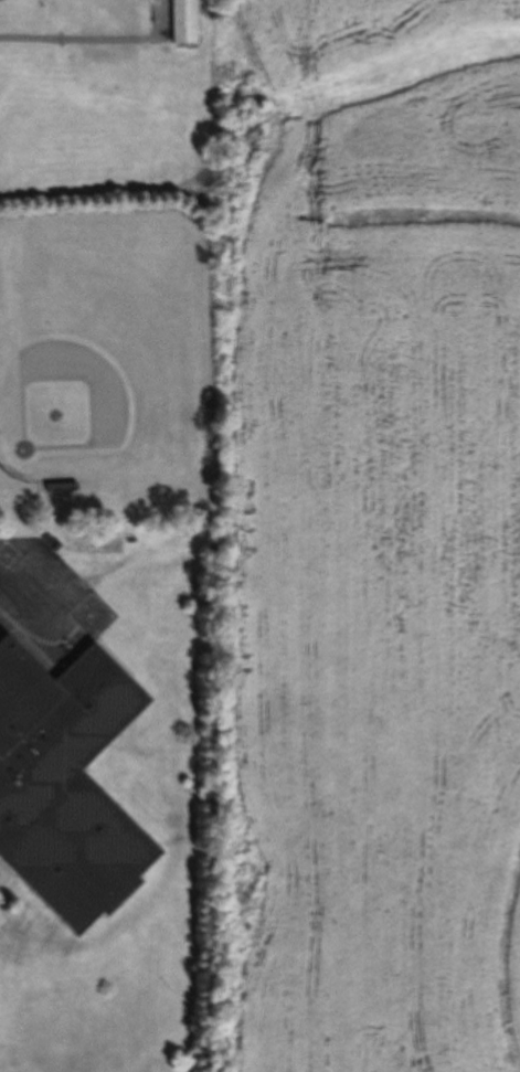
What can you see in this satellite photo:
building: (180, 22)
road: (1, 592)
building: (64, 785)

